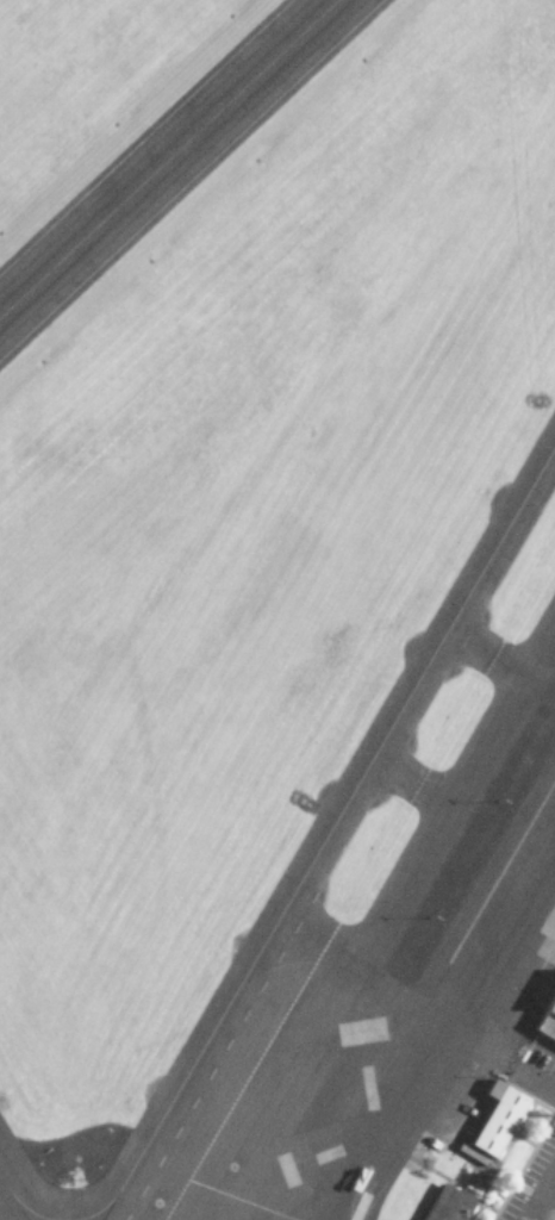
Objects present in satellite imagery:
airport taxiway: (168, 157)
airport: (277, 610)
airport taxiway: (328, 832)
airport apron: (404, 960)
building: (547, 1022)
parking lot: (545, 1064)
road: (541, 1083)
building: (495, 1120)
parking lot: (537, 1190)
airport taxiway: (12, 1201)
road: (543, 1201)
road: (548, 1206)
building: (447, 1207)
airport taxiway: (23, 1218)

